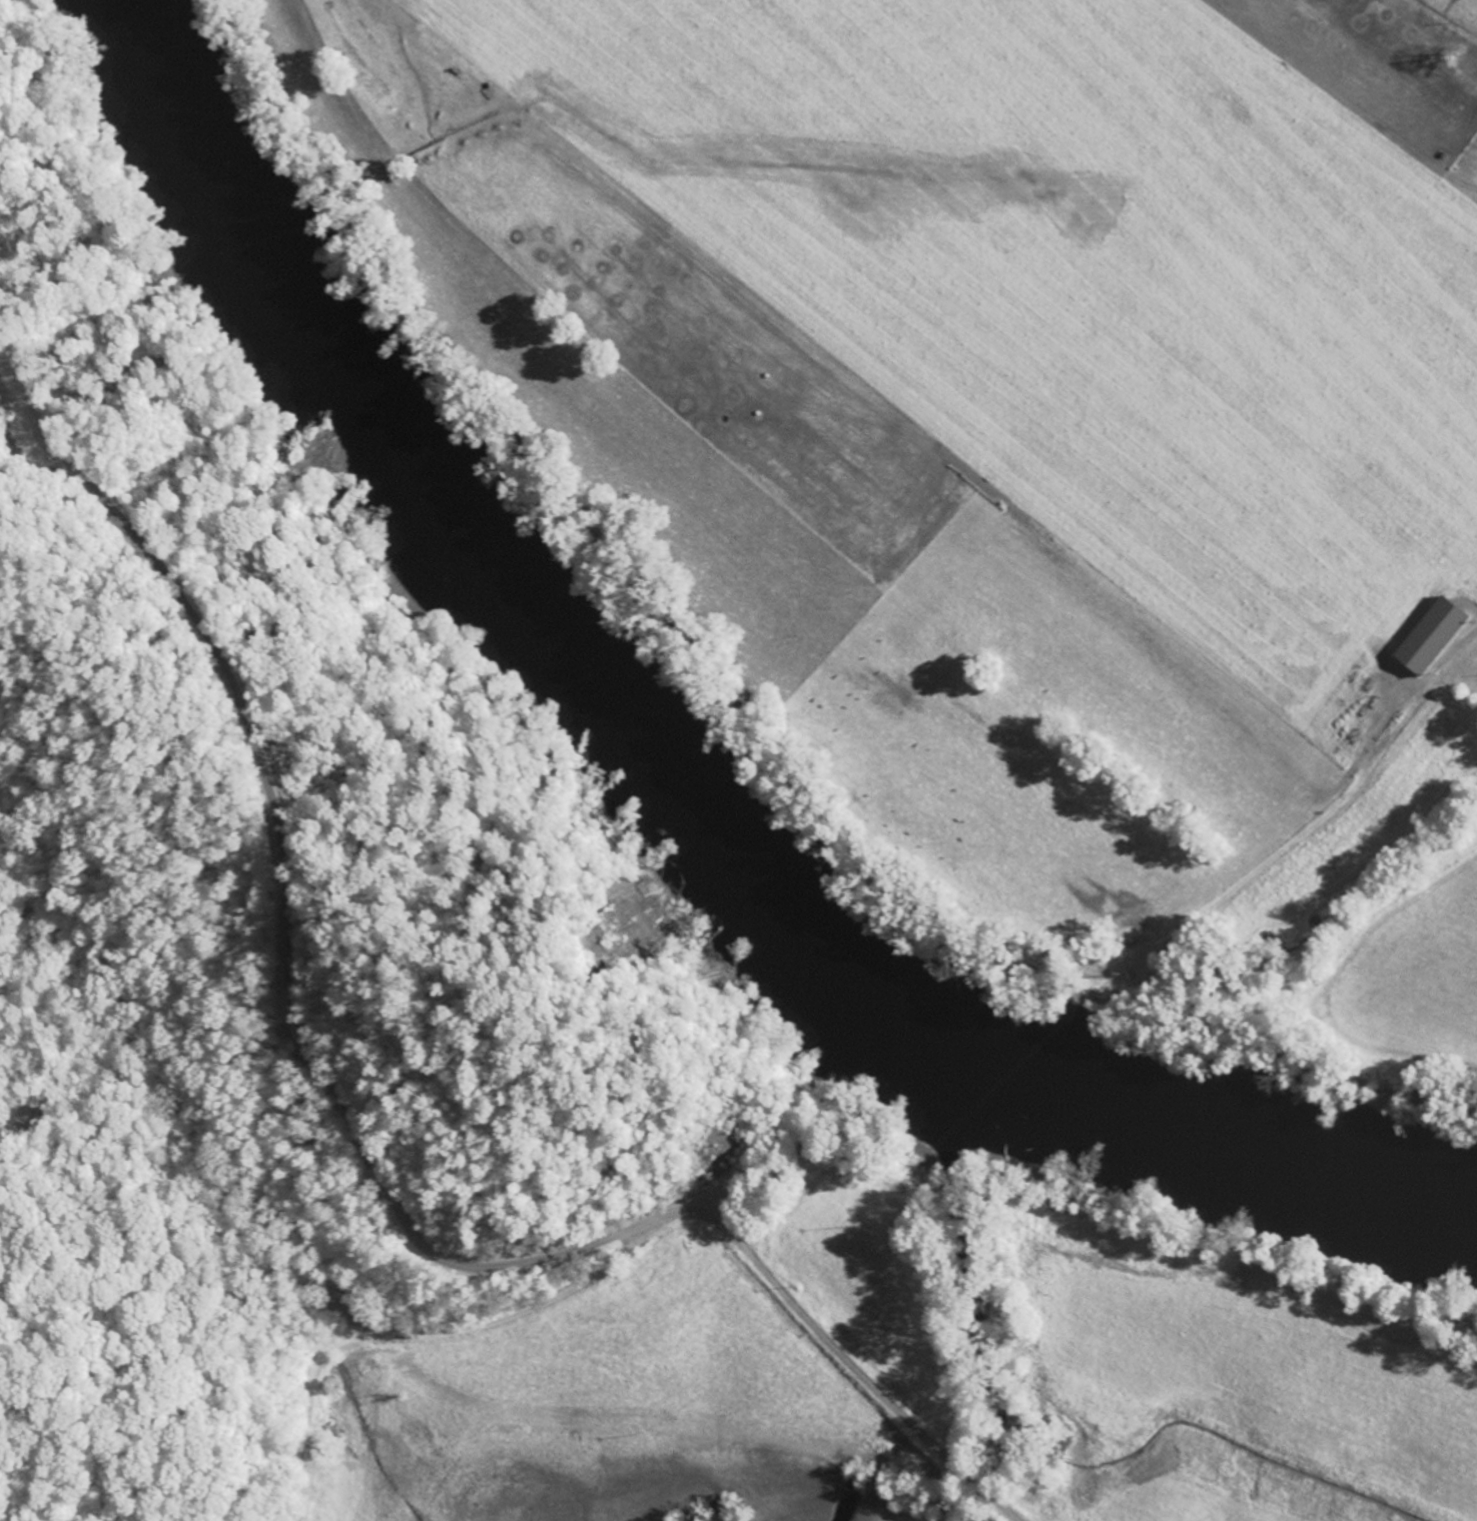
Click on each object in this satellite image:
building: (1438, 635)
river: (654, 780)
road: (283, 879)
road: (401, 1331)
road: (832, 1349)

